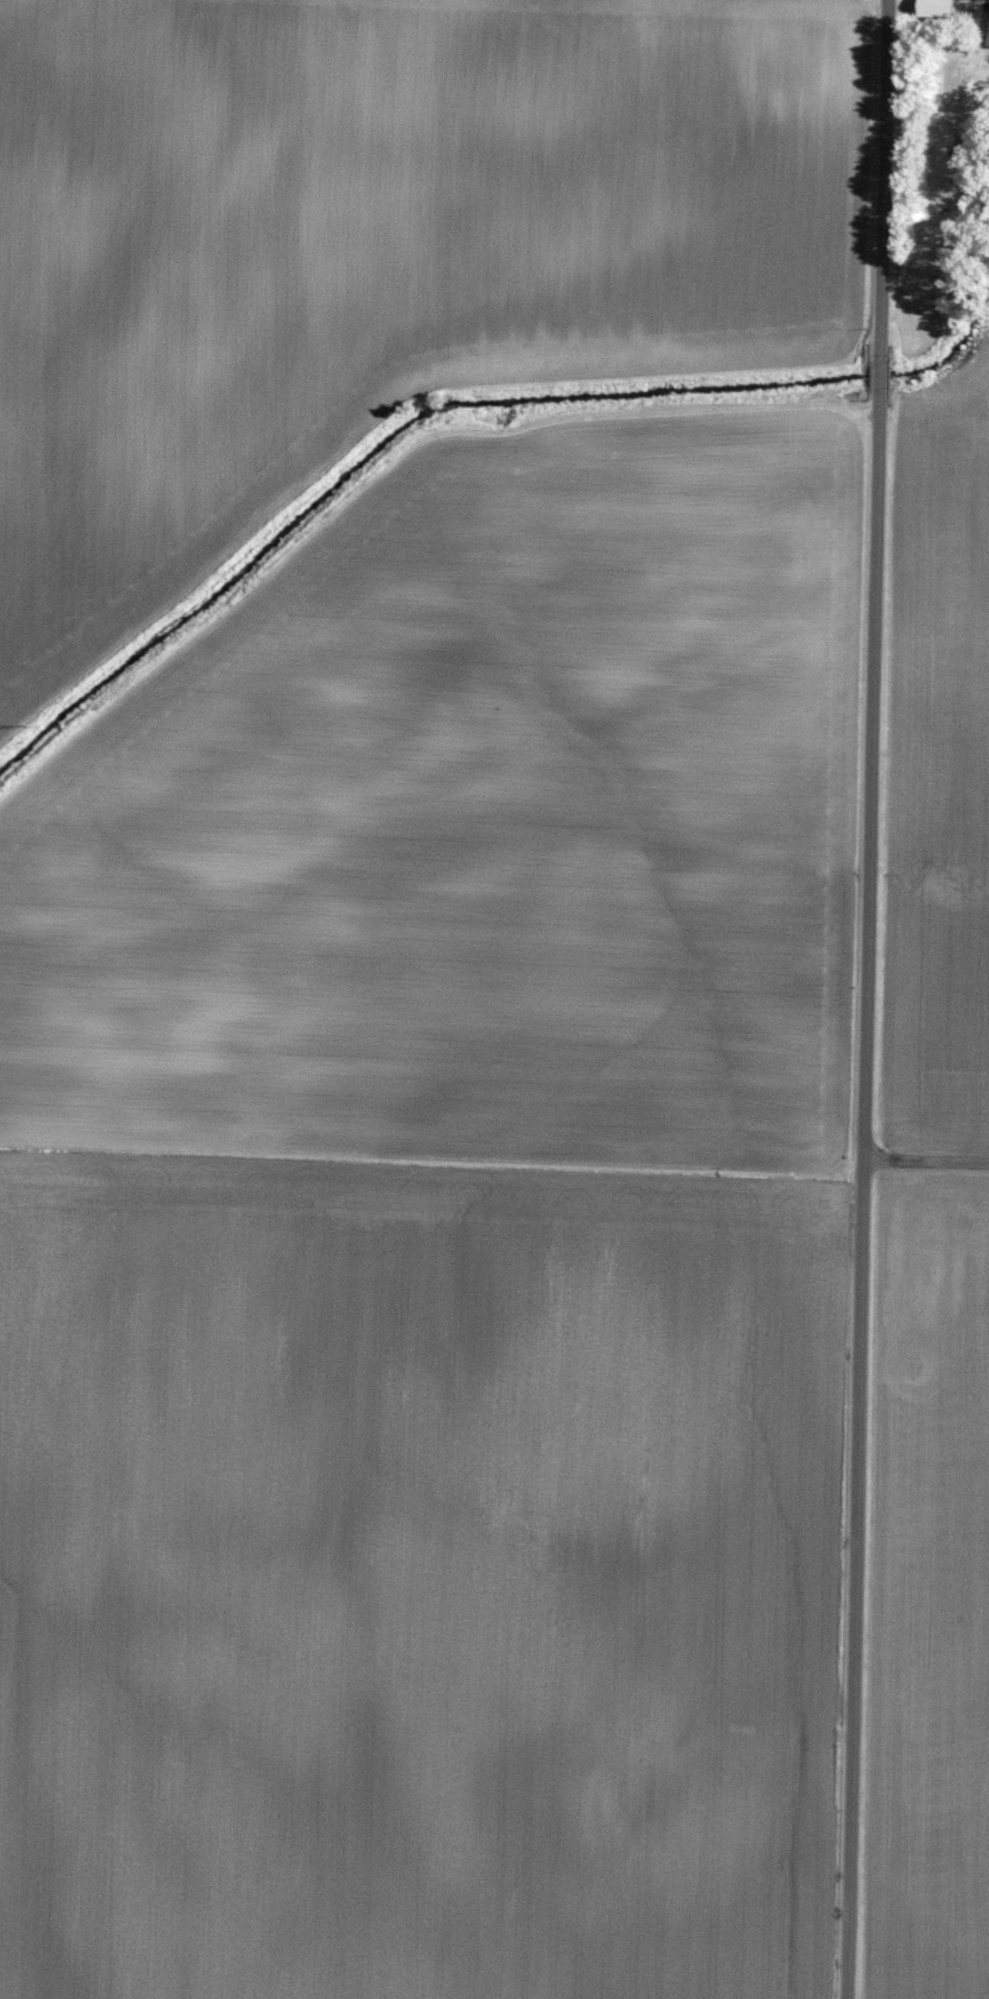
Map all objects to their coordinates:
road: (868, 999)
road: (926, 1159)

